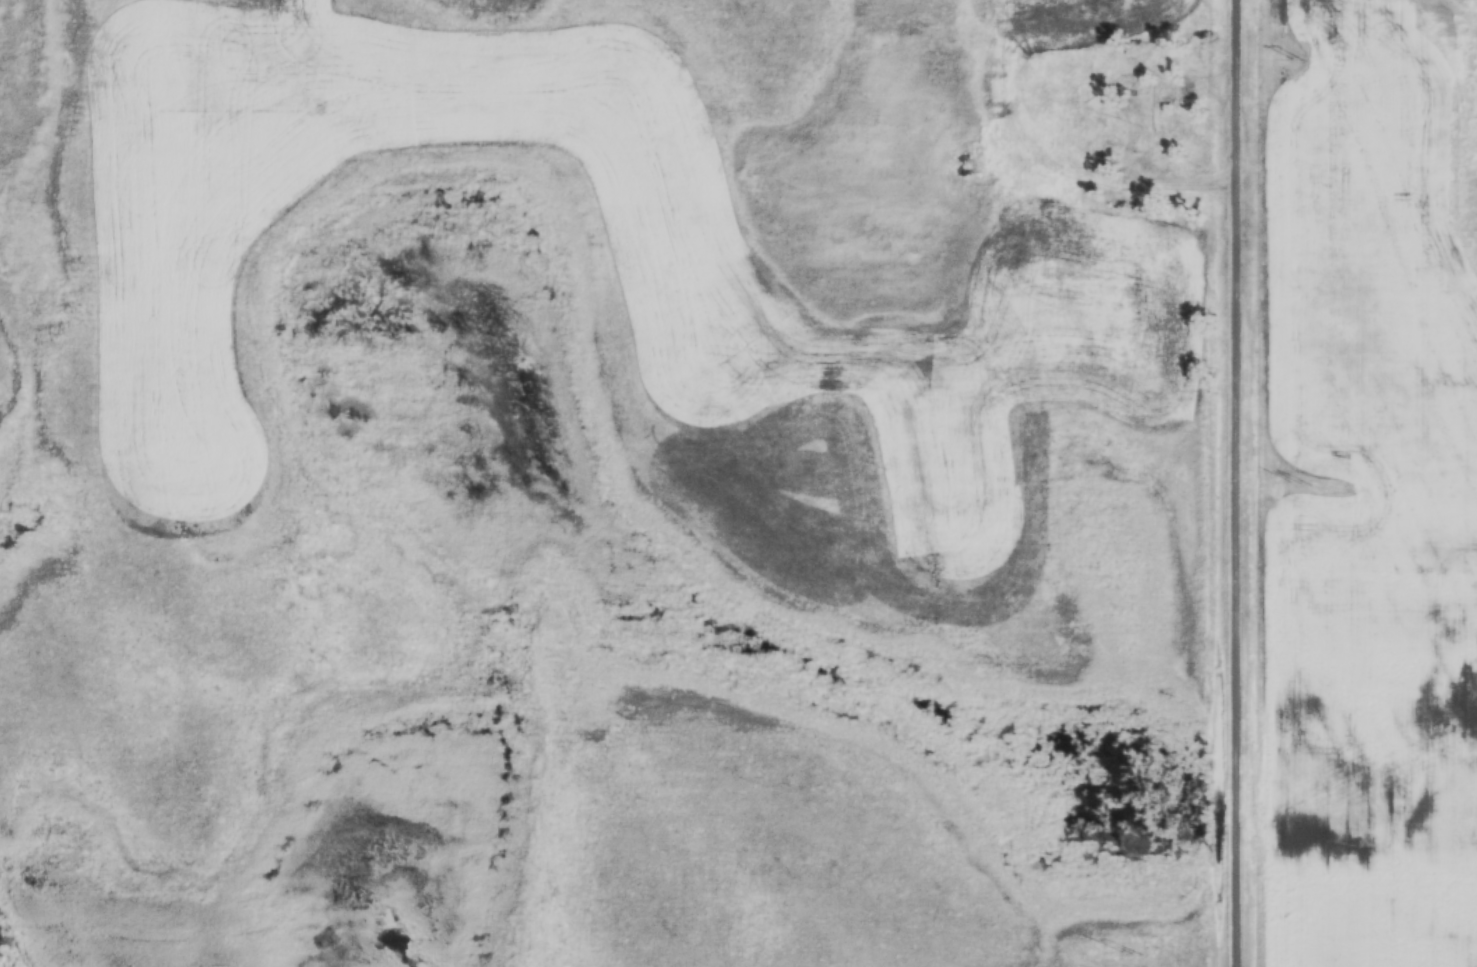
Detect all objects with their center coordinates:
power tower: (1298, 59)
road: (1242, 483)
power tower: (1300, 485)
power tower: (1132, 955)

